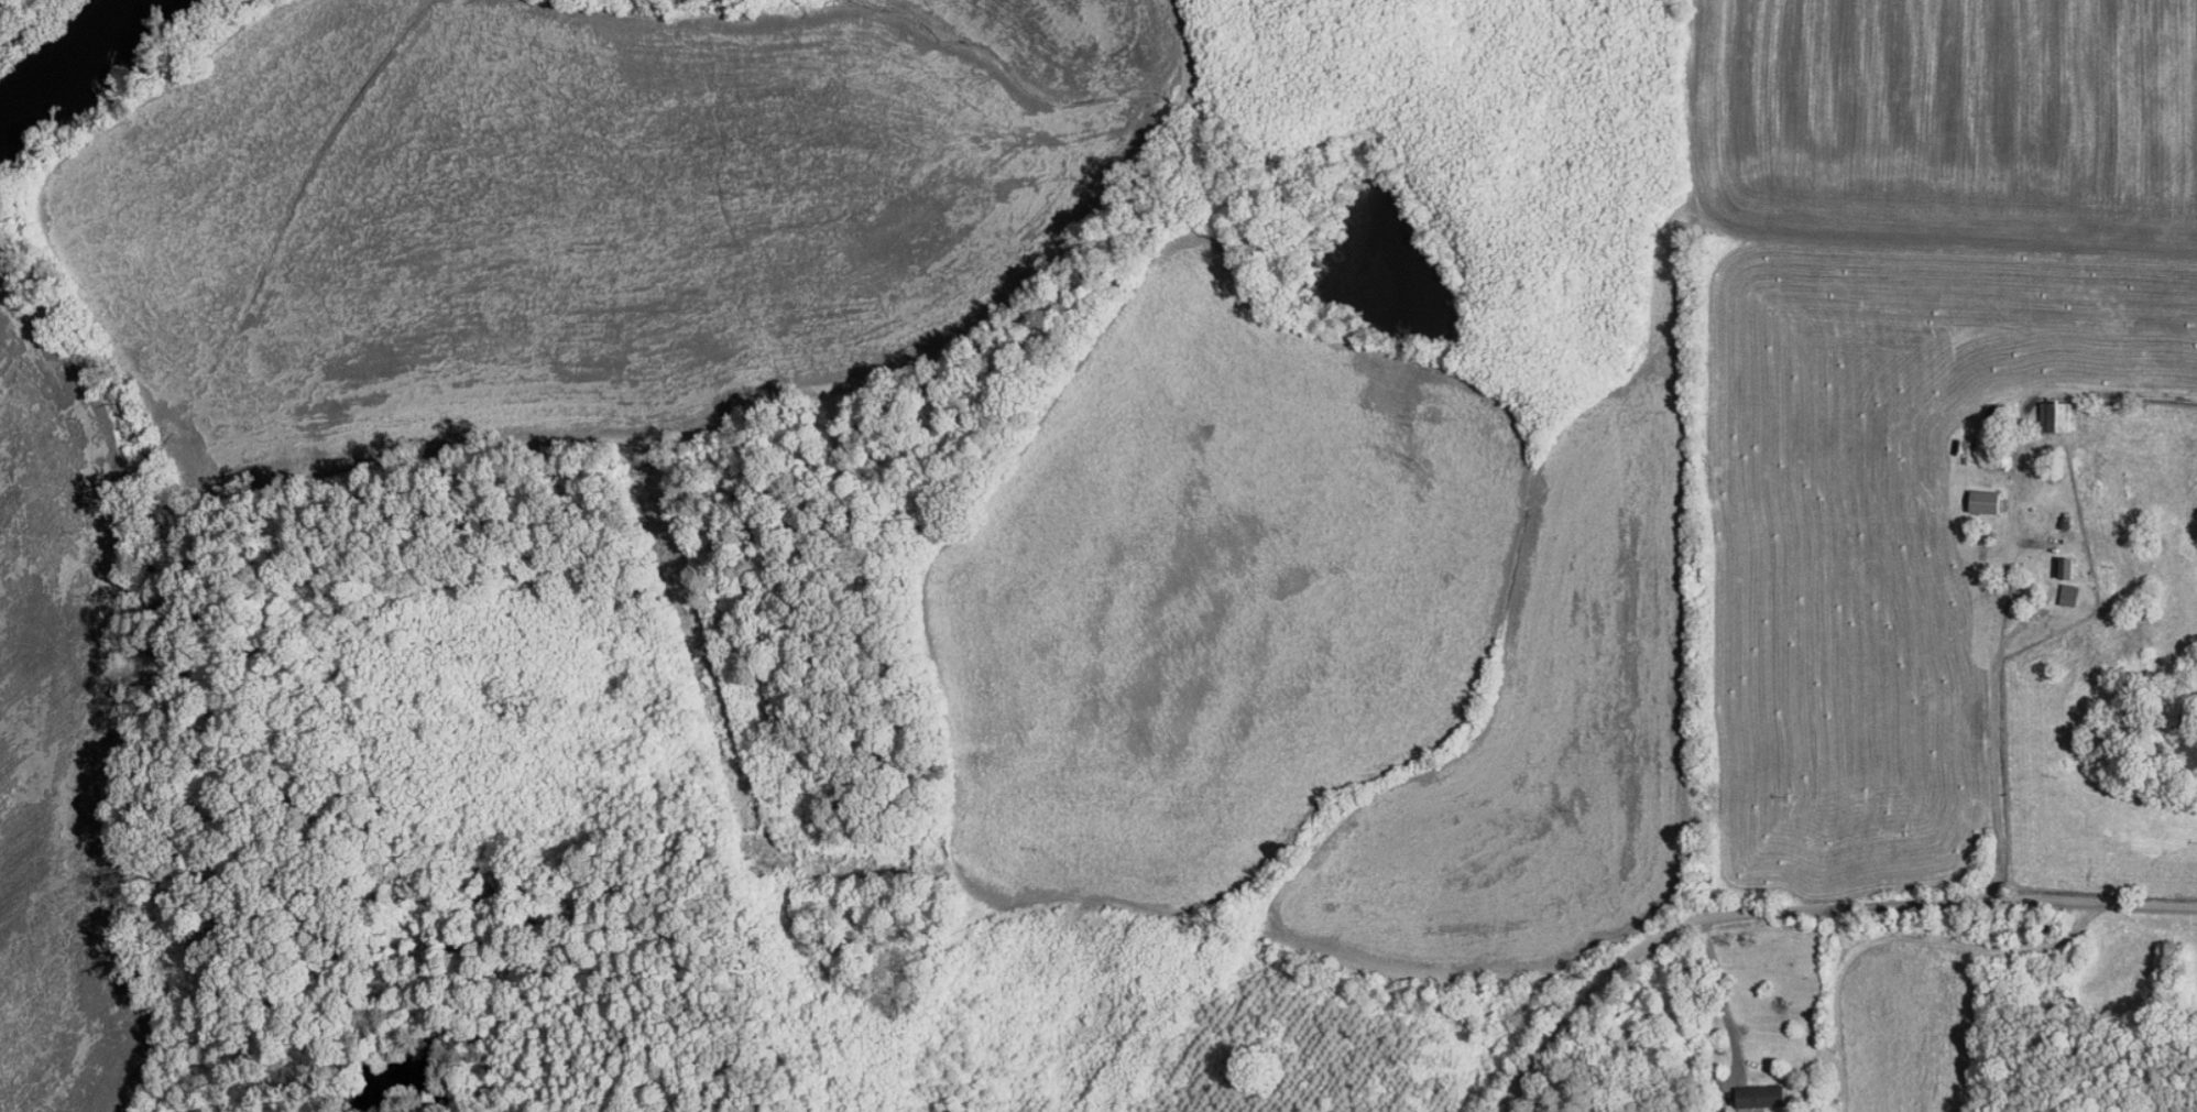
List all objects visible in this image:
river: (63, 48)
building: (2048, 408)
building: (1969, 494)
building: (2053, 560)
road: (2010, 565)
road: (1805, 906)
road: (1150, 908)
road: (1721, 986)
building: (1744, 1089)

